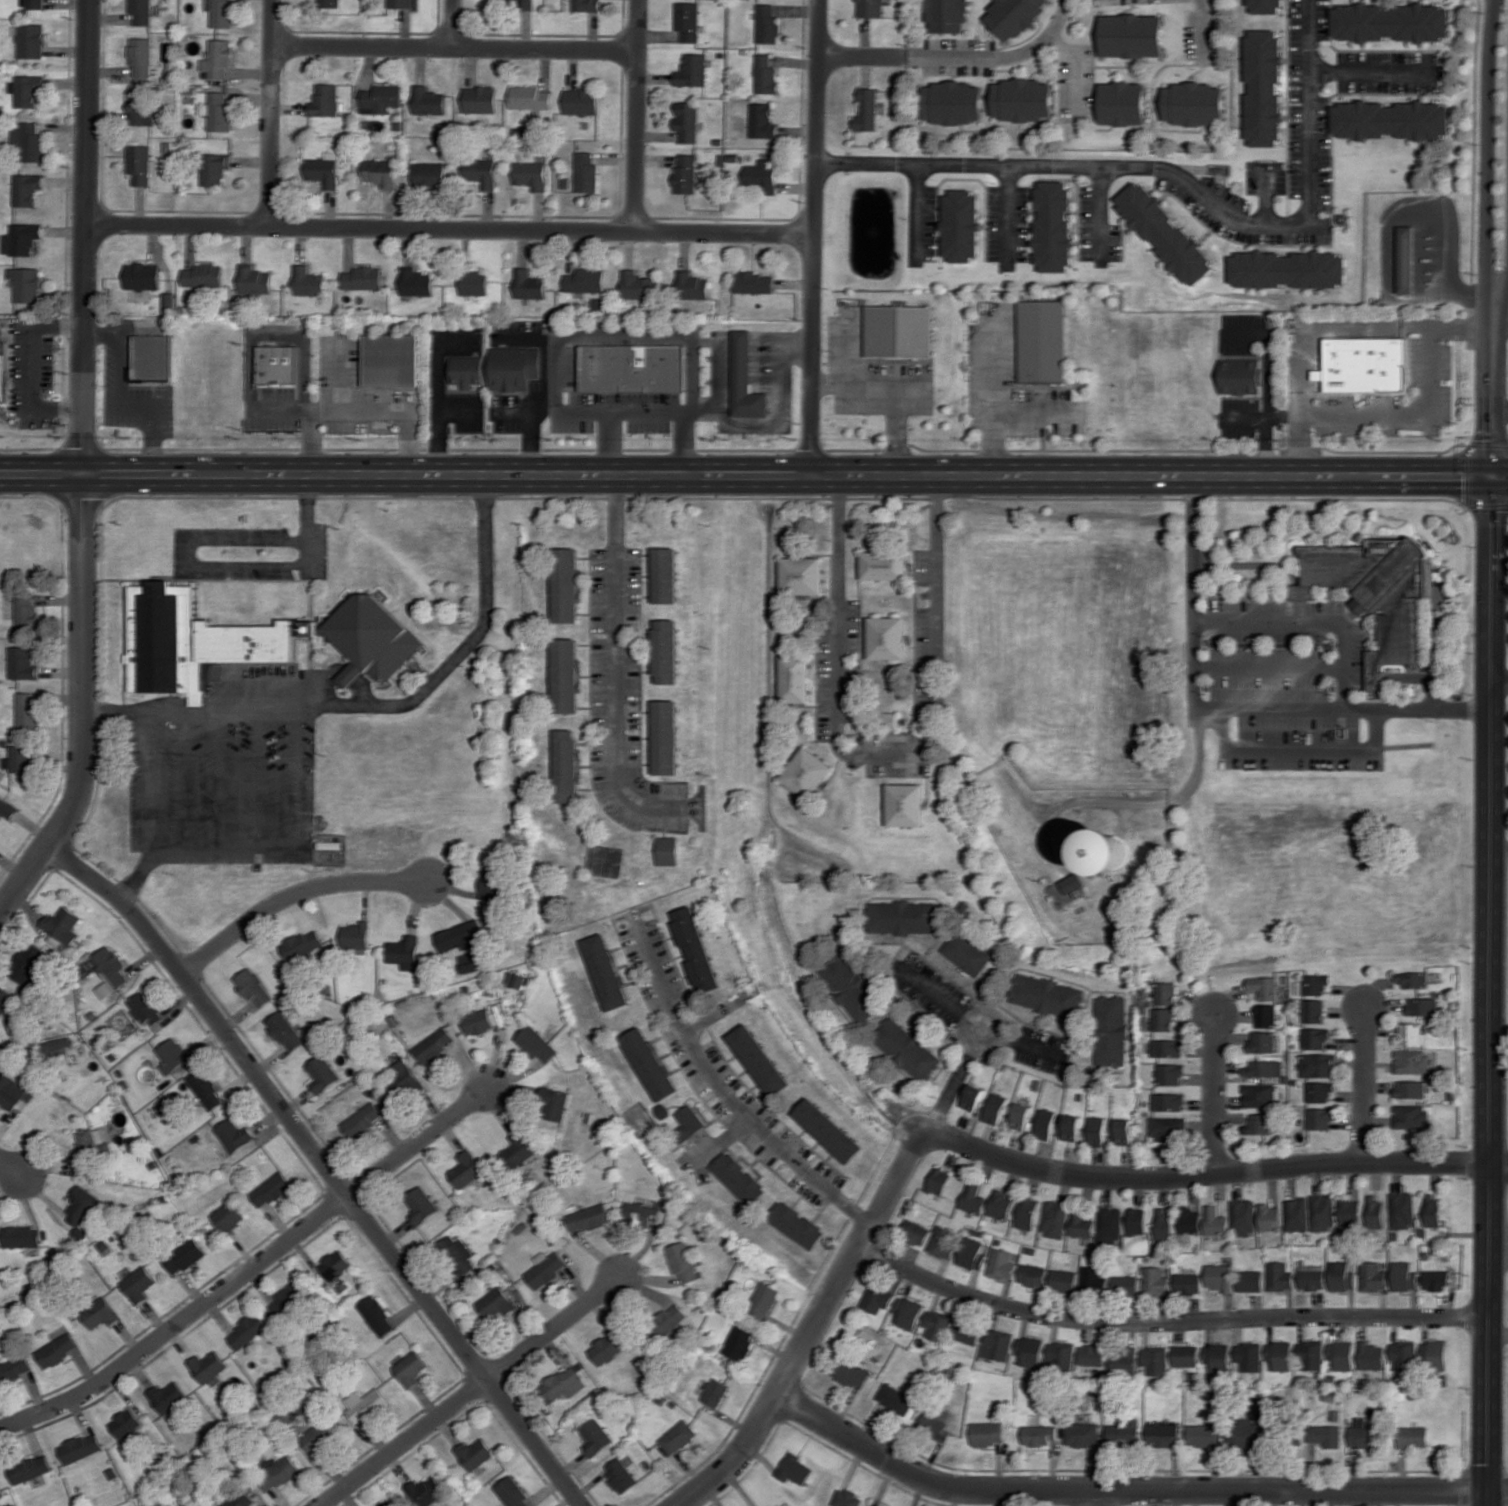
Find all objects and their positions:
building: (328, 3)
building: (400, 3)
building: (520, 3)
building: (34, 4)
building: (580, 5)
building: (1267, 6)
building: (868, 8)
building: (141, 11)
building: (222, 13)
building: (946, 15)
building: (1014, 16)
building: (685, 20)
building: (1391, 22)
road: (453, 24)
building: (765, 24)
road: (1203, 25)
building: (1132, 35)
building: (32, 40)
road: (454, 48)
road: (862, 57)
road: (1002, 57)
building: (142, 59)
building: (218, 59)
road: (1077, 62)
building: (690, 70)
road: (1371, 71)
building: (764, 75)
building: (1265, 88)
building: (30, 90)
building: (528, 97)
building: (381, 98)
building: (478, 99)
building: (1023, 99)
building: (325, 100)
building: (428, 101)
building: (578, 101)
building: (954, 102)
building: (1123, 103)
building: (1195, 104)
building: (140, 108)
building: (866, 110)
building: (219, 111)
road: (271, 113)
road: (635, 116)
road: (1312, 116)
building: (1390, 119)
building: (685, 120)
building: (761, 121)
building: (29, 140)
building: (139, 164)
road: (1072, 166)
building: (215, 168)
building: (323, 172)
building: (379, 172)
building: (479, 172)
building: (583, 172)
building: (684, 173)
building: (428, 174)
building: (529, 174)
building: (28, 189)
road: (919, 216)
building: (962, 226)
building: (1054, 227)
road: (451, 229)
building: (1165, 233)
building: (23, 238)
road: (814, 238)
building: (1405, 259)
building: (1287, 269)
building: (203, 275)
building: (143, 276)
building: (360, 278)
building: (254, 280)
building: (584, 280)
building: (307, 281)
building: (414, 282)
building: (754, 282)
building: (471, 283)
building: (527, 284)
building: (28, 285)
building: (636, 285)
building: (692, 285)
road: (1500, 297)
road: (1500, 319)
road: (1324, 326)
road: (102, 329)
building: (900, 331)
road: (610, 333)
road: (277, 334)
building: (1043, 341)
building: (153, 357)
building: (390, 360)
building: (277, 364)
building: (1366, 364)
road: (33, 365)
road: (721, 365)
road: (120, 367)
building: (512, 368)
building: (632, 368)
building: (4, 371)
building: (465, 371)
building: (1241, 376)
building: (746, 379)
road: (1270, 381)
road: (543, 388)
road: (437, 392)
road: (134, 404)
road: (351, 408)
road: (280, 410)
road: (779, 414)
road: (1500, 416)
road: (1372, 419)
road: (148, 440)
road: (692, 445)
road: (1500, 447)
road: (1039, 451)
road: (83, 467)
road: (753, 476)
road: (306, 507)
road: (194, 562)
building: (885, 566)
building: (665, 575)
building: (802, 575)
building: (566, 585)
building: (1376, 592)
building: (27, 614)
road: (1307, 621)
building: (311, 628)
building: (136, 634)
building: (888, 637)
building: (370, 638)
building: (198, 641)
building: (666, 651)
building: (23, 663)
road: (614, 672)
road: (1499, 674)
building: (566, 675)
building: (794, 678)
road: (373, 706)
road: (1226, 708)
building: (28, 712)
building: (892, 721)
building: (665, 737)
road: (1297, 748)
road: (1491, 752)
road: (880, 754)
building: (23, 758)
building: (566, 766)
building: (807, 772)
road: (296, 775)
building: (24, 781)
building: (906, 804)
road: (1156, 805)
building: (7, 808)
road: (1499, 843)
road: (195, 846)
building: (667, 850)
building: (1111, 851)
water tower: (1107, 862)
building: (1072, 882)
building: (489, 883)
road: (292, 895)
building: (902, 917)
building: (63, 924)
building: (355, 935)
building: (460, 936)
building: (301, 944)
building: (695, 948)
building: (403, 950)
building: (967, 952)
building: (27, 962)
building: (469, 962)
building: (110, 970)
building: (605, 971)
building: (1412, 978)
building: (1314, 983)
building: (252, 986)
building: (1263, 987)
building: (849, 988)
building: (1165, 993)
road: (938, 994)
building: (1047, 995)
building: (5, 999)
building: (1422, 1006)
building: (144, 1008)
building: (1312, 1011)
building: (1265, 1015)
building: (1162, 1019)
building: (477, 1021)
road: (994, 1025)
building: (285, 1031)
building: (1110, 1031)
building: (1411, 1034)
building: (1314, 1038)
road: (1022, 1041)
building: (1261, 1042)
building: (60, 1043)
building: (537, 1043)
building: (434, 1046)
building: (1167, 1048)
building: (906, 1049)
building: (172, 1053)
building: (759, 1060)
building: (1412, 1061)
building: (650, 1063)
building: (1317, 1065)
building: (1261, 1068)
building: (322, 1073)
building: (1171, 1073)
building: (403, 1080)
road: (954, 1086)
road: (1364, 1086)
building: (14, 1088)
building: (1409, 1088)
building: (206, 1090)
building: (1318, 1091)
road: (1214, 1094)
building: (1258, 1095)
road: (728, 1096)
building: (972, 1097)
building: (1169, 1102)
building: (556, 1103)
building: (995, 1108)
building: (1020, 1116)
building: (1410, 1116)
building: (1318, 1118)
building: (363, 1120)
building: (689, 1123)
building: (1045, 1123)
building: (1258, 1124)
building: (1070, 1127)
building: (1168, 1128)
building: (829, 1130)
building: (1096, 1131)
building: (1122, 1131)
building: (234, 1134)
road: (418, 1142)
building: (90, 1147)
building: (517, 1150)
road: (324, 1166)
road: (1499, 1167)
road: (11, 1168)
building: (466, 1169)
road: (1204, 1174)
building: (738, 1178)
building: (939, 1181)
building: (271, 1189)
building: (973, 1198)
building: (421, 1204)
building: (1001, 1204)
building: (79, 1206)
building: (1350, 1210)
building: (1375, 1210)
building: (1402, 1210)
building: (1432, 1210)
building: (1322, 1212)
building: (642, 1213)
building: (1027, 1213)
building: (1296, 1214)
building: (228, 1216)
building: (1243, 1216)
building: (589, 1217)
building: (1269, 1217)
building: (1054, 1219)
building: (1189, 1220)
building: (1215, 1220)
building: (1136, 1221)
building: (797, 1224)
building: (1082, 1224)
building: (1109, 1224)
building: (1163, 1224)
building: (915, 1232)
building: (21, 1236)
building: (943, 1242)
road: (1498, 1250)
building: (972, 1253)
building: (457, 1255)
building: (184, 1256)
building: (683, 1261)
building: (1001, 1264)
building: (335, 1265)
building: (546, 1268)
building: (1032, 1275)
building: (1218, 1276)
building: (1279, 1276)
building: (1341, 1276)
building: (1372, 1276)
building: (1404, 1276)
building: (1311, 1277)
building: (1093, 1279)
building: (1063, 1280)
building: (1249, 1280)
building: (1436, 1280)
building: (1155, 1281)
building: (1187, 1283)
building: (139, 1284)
building: (1125, 1285)
building: (288, 1297)
building: (876, 1298)
building: (764, 1300)
building: (496, 1302)
building: (908, 1312)
building: (101, 1313)
building: (376, 1315)
building: (668, 1321)
road: (179, 1323)
road: (1167, 1323)
building: (937, 1325)
road: (553, 1329)
road: (811, 1329)
building: (247, 1331)
building: (966, 1332)
road: (1498, 1334)
building: (739, 1343)
building: (997, 1345)
building: (607, 1348)
building: (57, 1350)
building: (1029, 1350)
building: (1091, 1354)
building: (1342, 1354)
building: (1404, 1354)
building: (1061, 1355)
building: (1185, 1355)
building: (1280, 1355)
building: (1310, 1355)
building: (1437, 1355)
building: (1249, 1356)
building: (1371, 1356)
building: (1217, 1357)
building: (1155, 1360)
building: (1124, 1362)
building: (208, 1366)
building: (14, 1368)
building: (410, 1368)
building: (852, 1373)
building: (563, 1383)
building: (715, 1392)
building: (167, 1396)
building: (895, 1399)
building: (365, 1404)
building: (937, 1422)
building: (125, 1423)
building: (1246, 1430)
building: (986, 1433)
building: (1124, 1433)
building: (1205, 1433)
building: (1040, 1434)
building: (1082, 1434)
building: (1163, 1435)
building: (1326, 1435)
building: (595, 1436)
building: (1363, 1436)
building: (1413, 1436)
building: (319, 1437)
building: (678, 1437)
road: (403, 1442)
building: (81, 1447)
building: (474, 1453)
building: (30, 1468)
building: (794, 1469)
building: (276, 1472)
building: (620, 1475)
building: (425, 1490)
road: (1129, 1490)
building: (512, 1492)
building: (0, 1495)
building: (846, 1498)
road: (1096, 1498)
building: (238, 1499)
building: (387, 1503)
building: (782, 1505)
building: (873, 1505)

